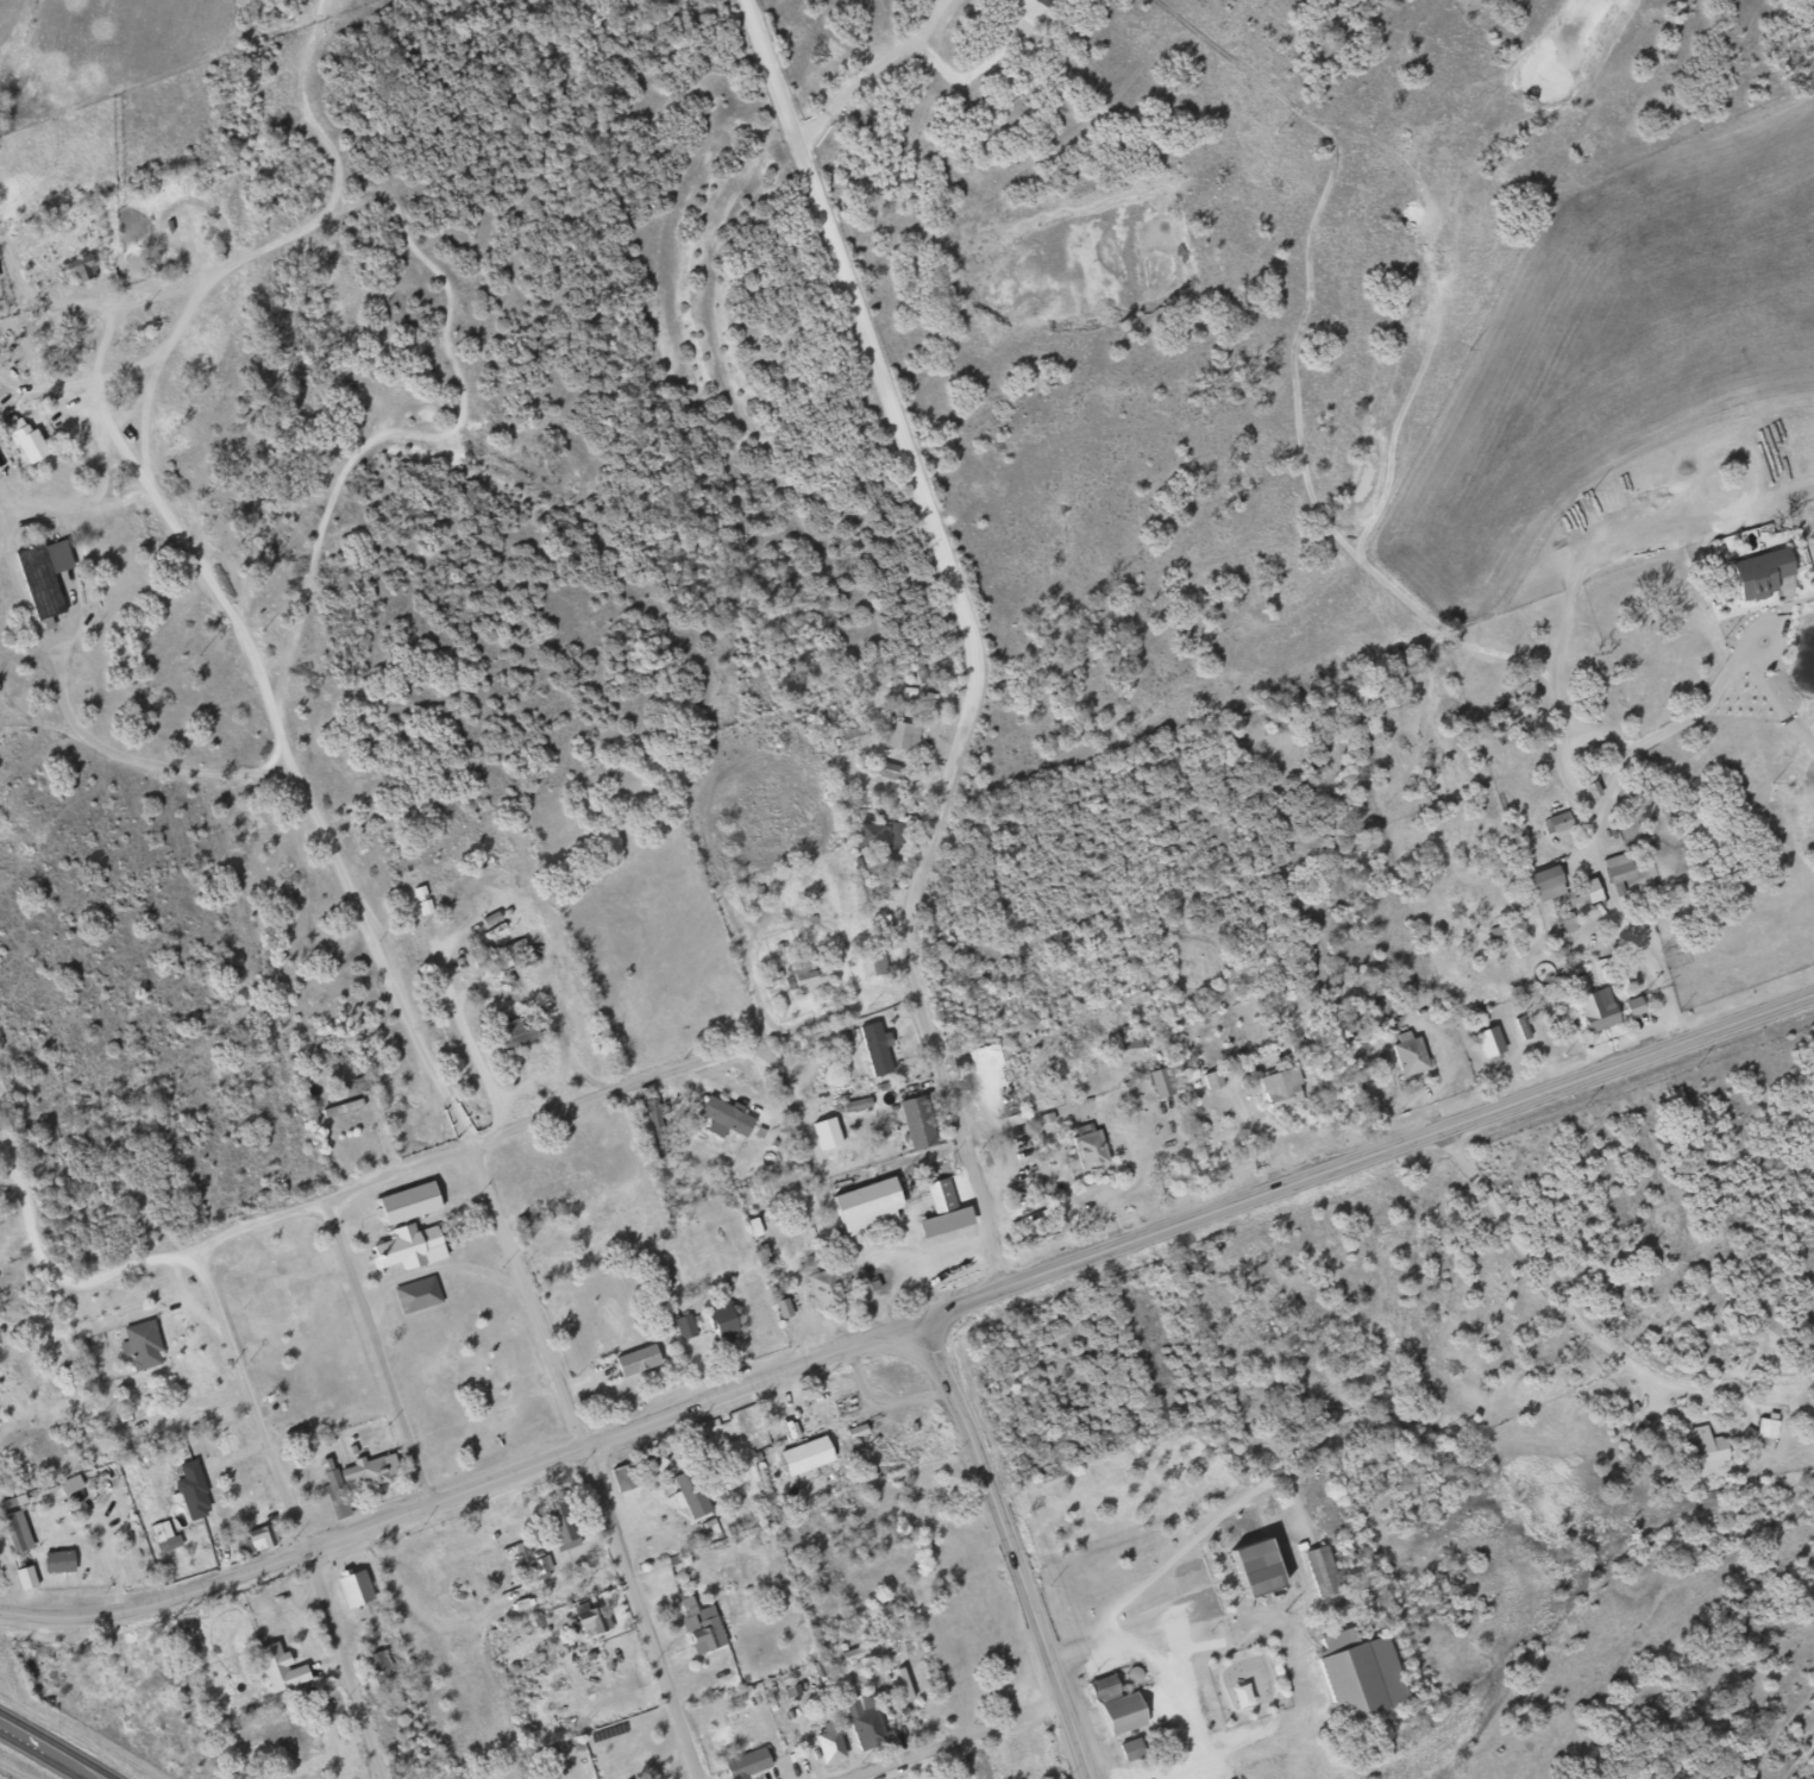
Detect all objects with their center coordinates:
building: (1042, 2)
road: (74, 302)
road: (15, 386)
building: (25, 441)
road: (101, 466)
road: (7, 501)
road: (64, 505)
building: (42, 576)
road: (967, 636)
road: (1701, 704)
road: (6, 714)
building: (902, 735)
road: (157, 765)
building: (887, 771)
building: (1557, 822)
building: (878, 838)
road: (1595, 860)
building: (1618, 867)
building: (1543, 884)
building: (1578, 894)
building: (1565, 923)
building: (509, 951)
building: (482, 956)
building: (872, 963)
building: (803, 977)
building: (1632, 1006)
building: (1595, 1010)
building: (1487, 1041)
building: (874, 1048)
building: (1406, 1054)
building: (1211, 1080)
building: (359, 1082)
building: (1157, 1082)
building: (1280, 1088)
road: (445, 1095)
building: (854, 1105)
building: (340, 1107)
building: (723, 1117)
building: (915, 1121)
building: (653, 1126)
building: (823, 1133)
road: (477, 1146)
building: (1086, 1146)
road: (1358, 1157)
road: (821, 1187)
building: (939, 1195)
building: (404, 1203)
building: (864, 1206)
building: (942, 1221)
building: (406, 1247)
road: (958, 1261)
road: (904, 1264)
road: (1552, 1275)
road: (67, 1281)
building: (821, 1289)
building: (415, 1295)
building: (782, 1307)
building: (718, 1325)
building: (684, 1326)
building: (139, 1345)
road: (377, 1351)
building: (634, 1360)
road: (879, 1396)
road: (688, 1407)
building: (1759, 1432)
building: (1705, 1448)
building: (802, 1456)
building: (369, 1470)
building: (623, 1477)
building: (68, 1484)
building: (190, 1490)
building: (332, 1490)
building: (686, 1495)
road: (294, 1515)
building: (558, 1523)
building: (14, 1532)
building: (163, 1536)
building: (255, 1539)
road: (108, 1555)
building: (57, 1561)
building: (540, 1566)
building: (1250, 1569)
building: (1319, 1571)
building: (24, 1578)
building: (352, 1589)
building: (591, 1621)
building: (699, 1626)
building: (852, 1654)
building: (377, 1665)
building: (277, 1668)
building: (1357, 1674)
road: (1166, 1679)
building: (1101, 1689)
building: (1119, 1714)
building: (864, 1722)
building: (827, 1742)
road: (958, 1742)
building: (1129, 1749)
road: (49, 1750)
building: (745, 1764)

